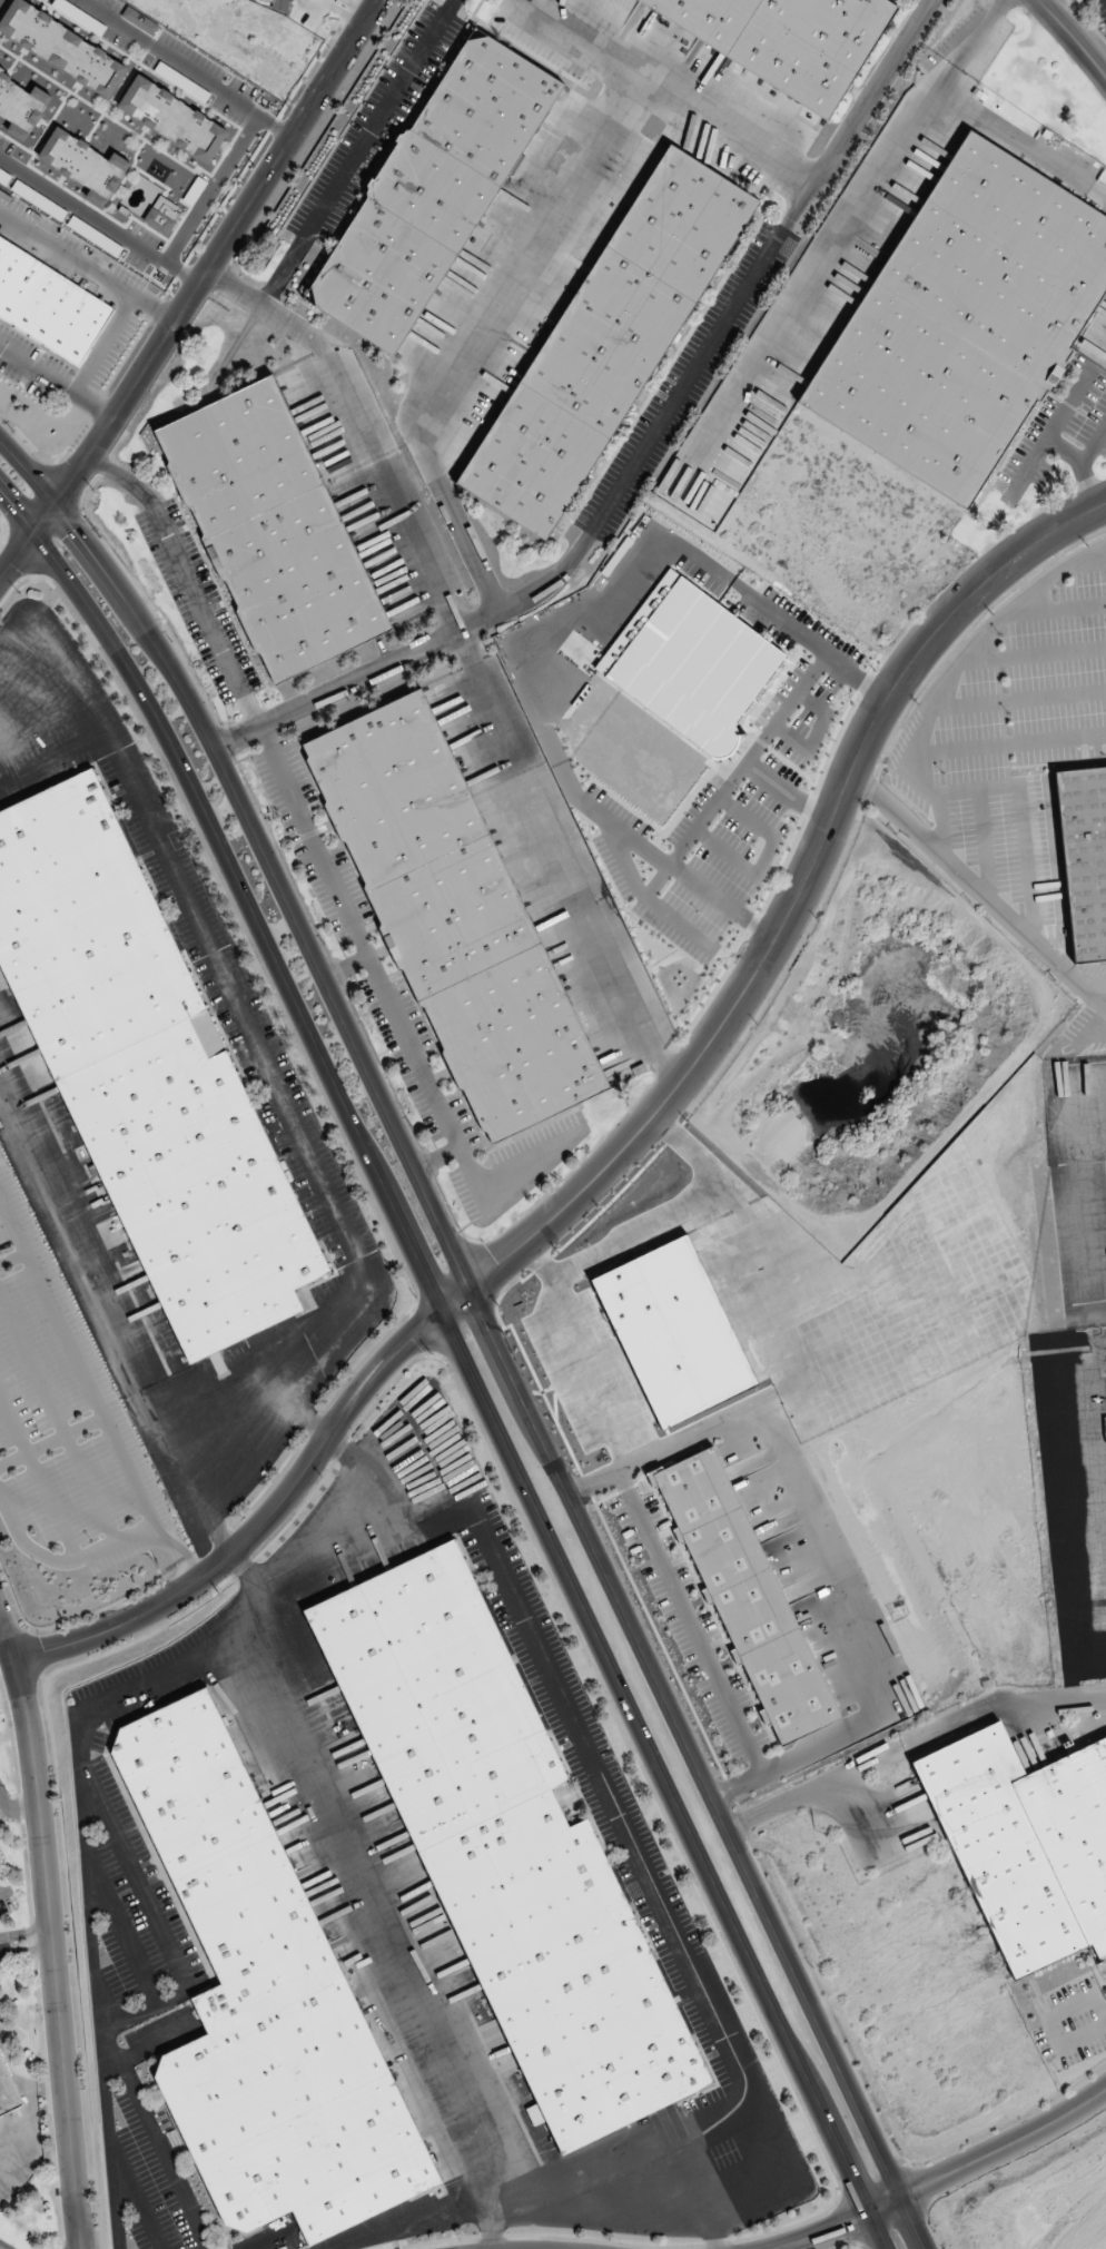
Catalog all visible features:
building: (275, 3)
road: (1074, 36)
building: (786, 40)
road: (966, 43)
road: (219, 89)
road: (674, 90)
road: (354, 152)
road: (871, 186)
building: (431, 191)
building: (683, 221)
road: (194, 293)
building: (47, 305)
building: (964, 320)
road: (477, 334)
building: (609, 339)
road: (362, 425)
road: (1049, 434)
road: (1094, 442)
road: (642, 451)
building: (532, 458)
road: (1082, 464)
building: (271, 529)
road: (574, 619)
road: (950, 675)
road: (859, 677)
road: (1008, 746)
building: (394, 789)
road: (789, 795)
building: (1085, 856)
road: (564, 861)
road: (326, 868)
road: (635, 879)
road: (979, 888)
road: (240, 889)
road: (722, 899)
road: (789, 914)
building: (452, 916)
road: (345, 966)
building: (514, 1043)
building: (147, 1074)
road: (437, 1160)
road: (12, 1259)
road: (490, 1329)
road: (76, 1361)
road: (57, 1419)
road: (51, 1441)
road: (38, 1477)
road: (258, 1527)
road: (177, 1550)
road: (65, 1560)
building: (744, 1594)
road: (1, 1617)
road: (999, 1704)
road: (663, 1782)
road: (816, 1788)
road: (17, 1808)
building: (1026, 1843)
building: (507, 1849)
building: (0, 1858)
building: (1, 1874)
road: (4, 1888)
road: (51, 1926)
road: (26, 1934)
road: (27, 1950)
building: (265, 2002)
building: (8, 2092)
road: (945, 2174)

